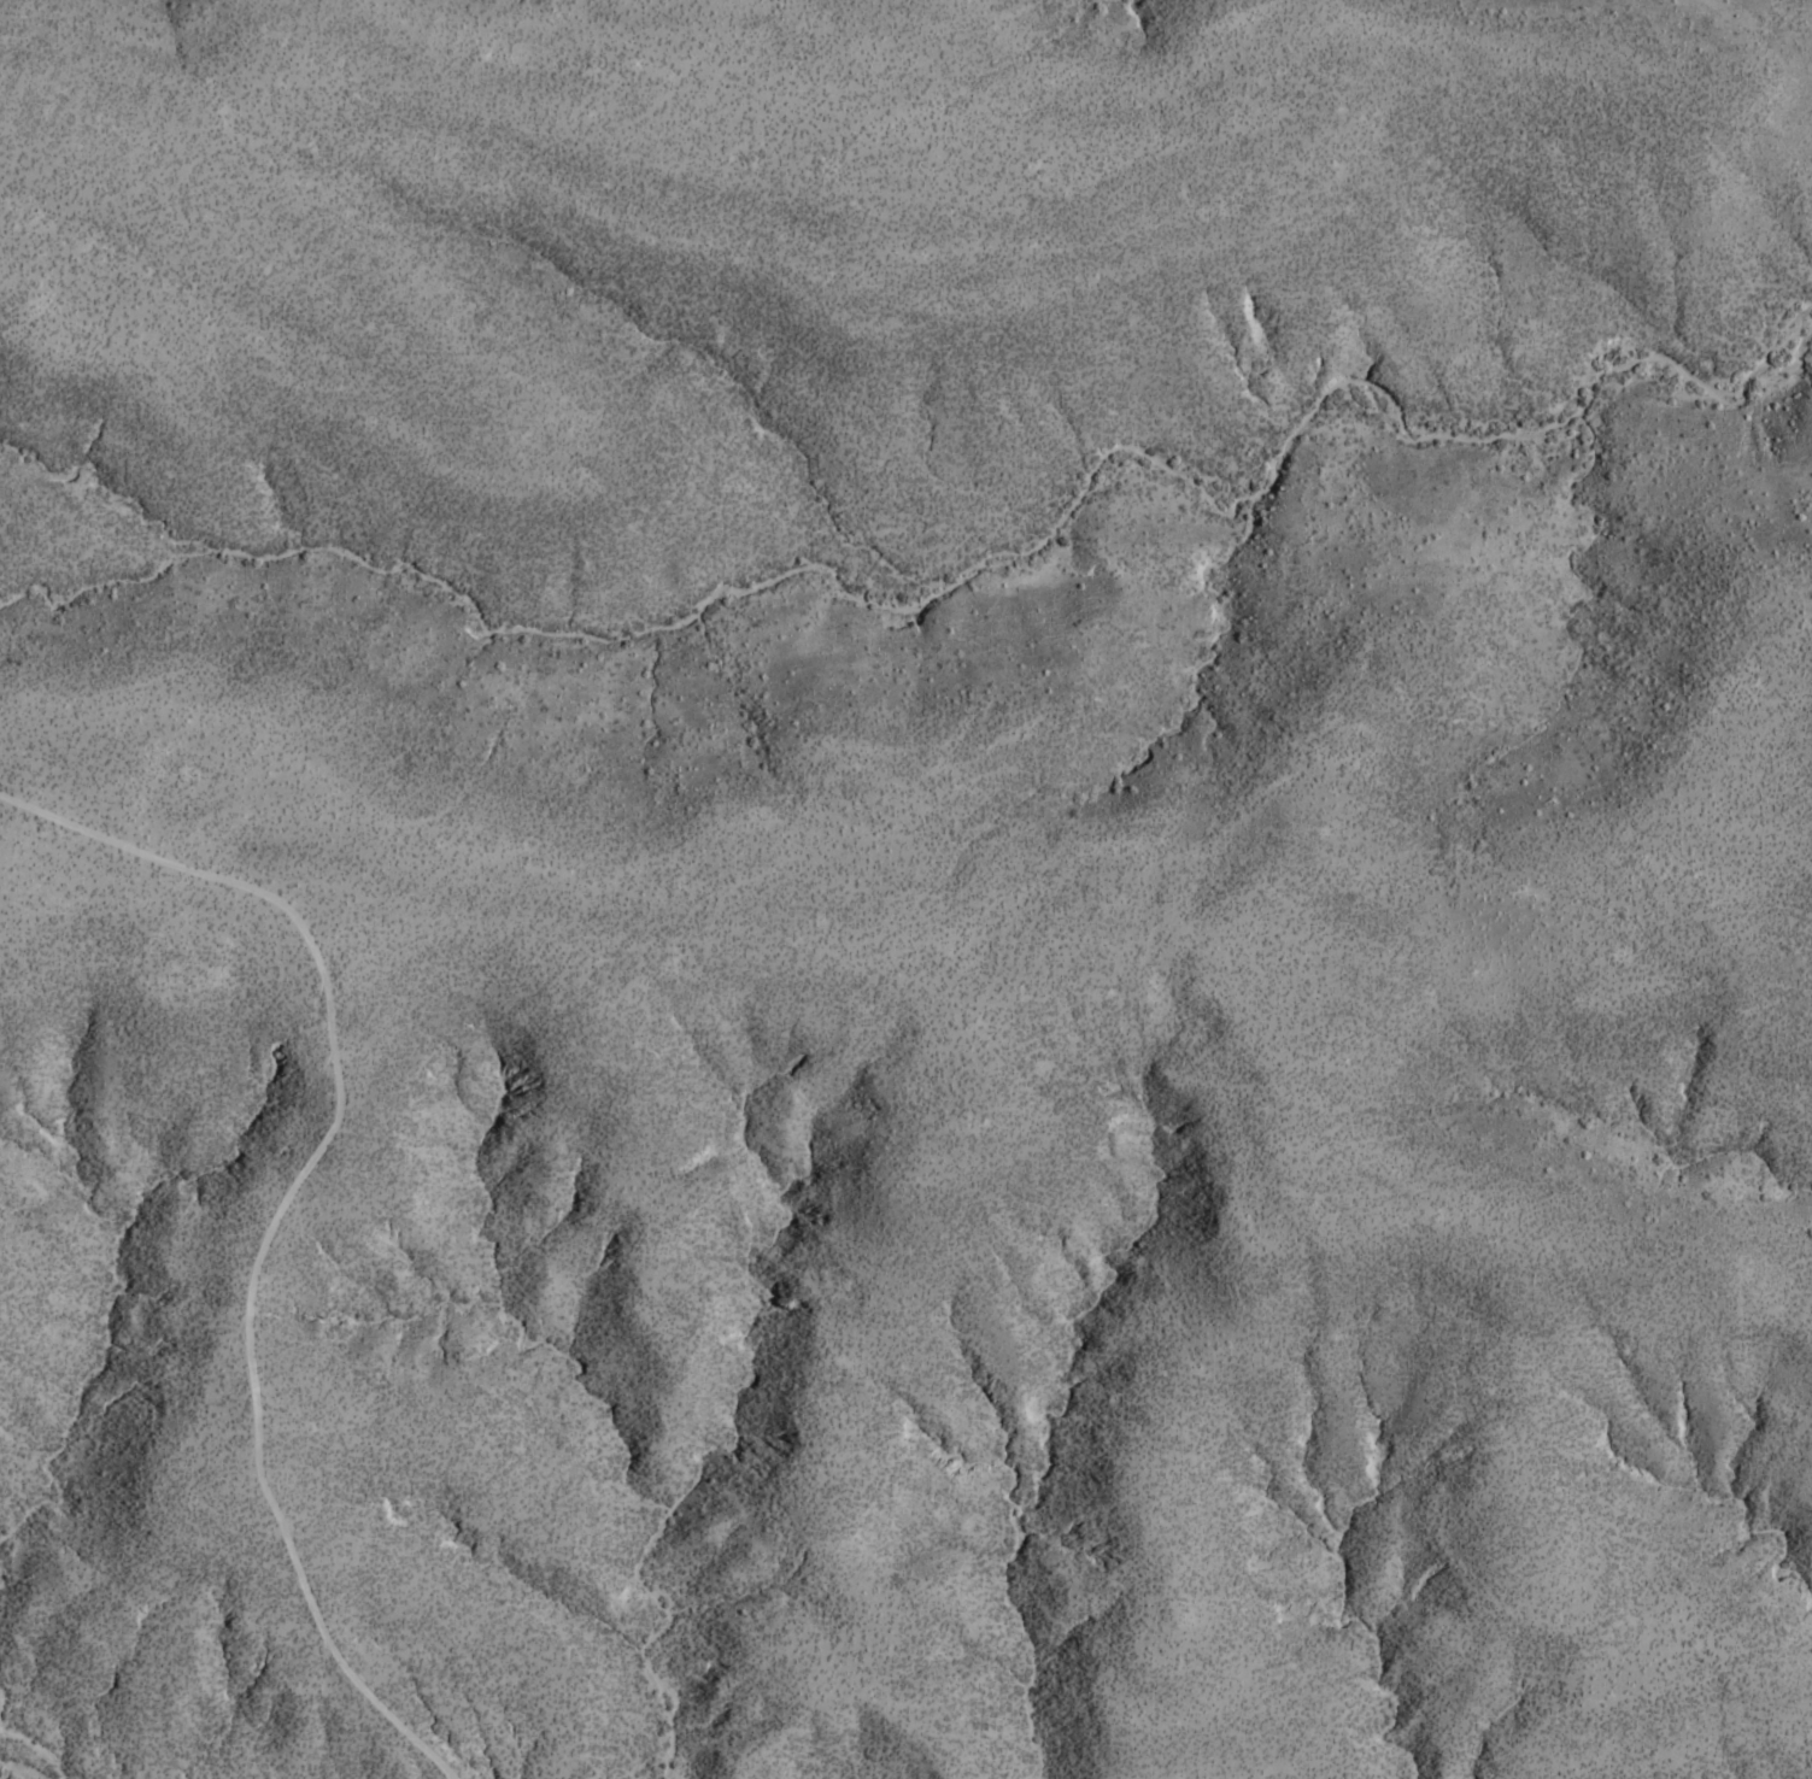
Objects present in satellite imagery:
road: (276, 1211)

